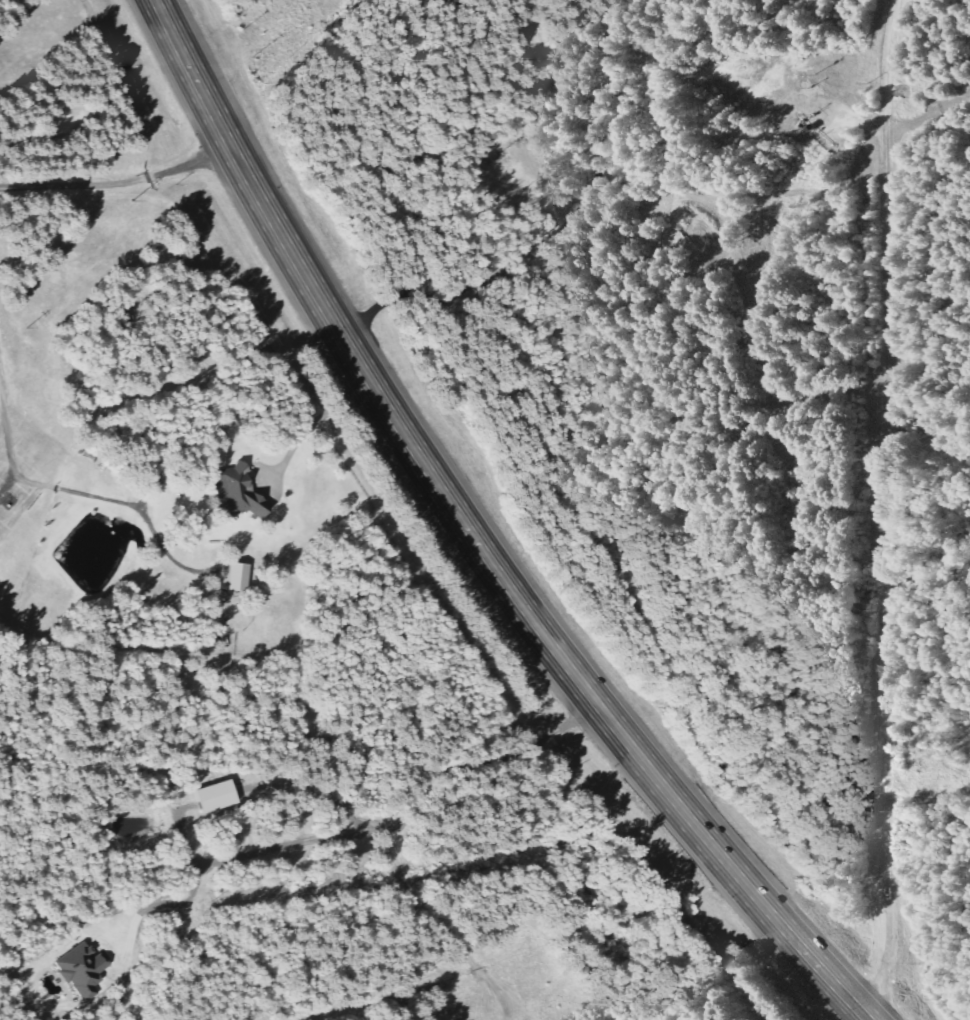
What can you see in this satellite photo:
building: (241, 495)
road: (884, 511)
road: (475, 535)
building: (239, 577)
building: (221, 796)
road: (923, 796)
building: (86, 970)

